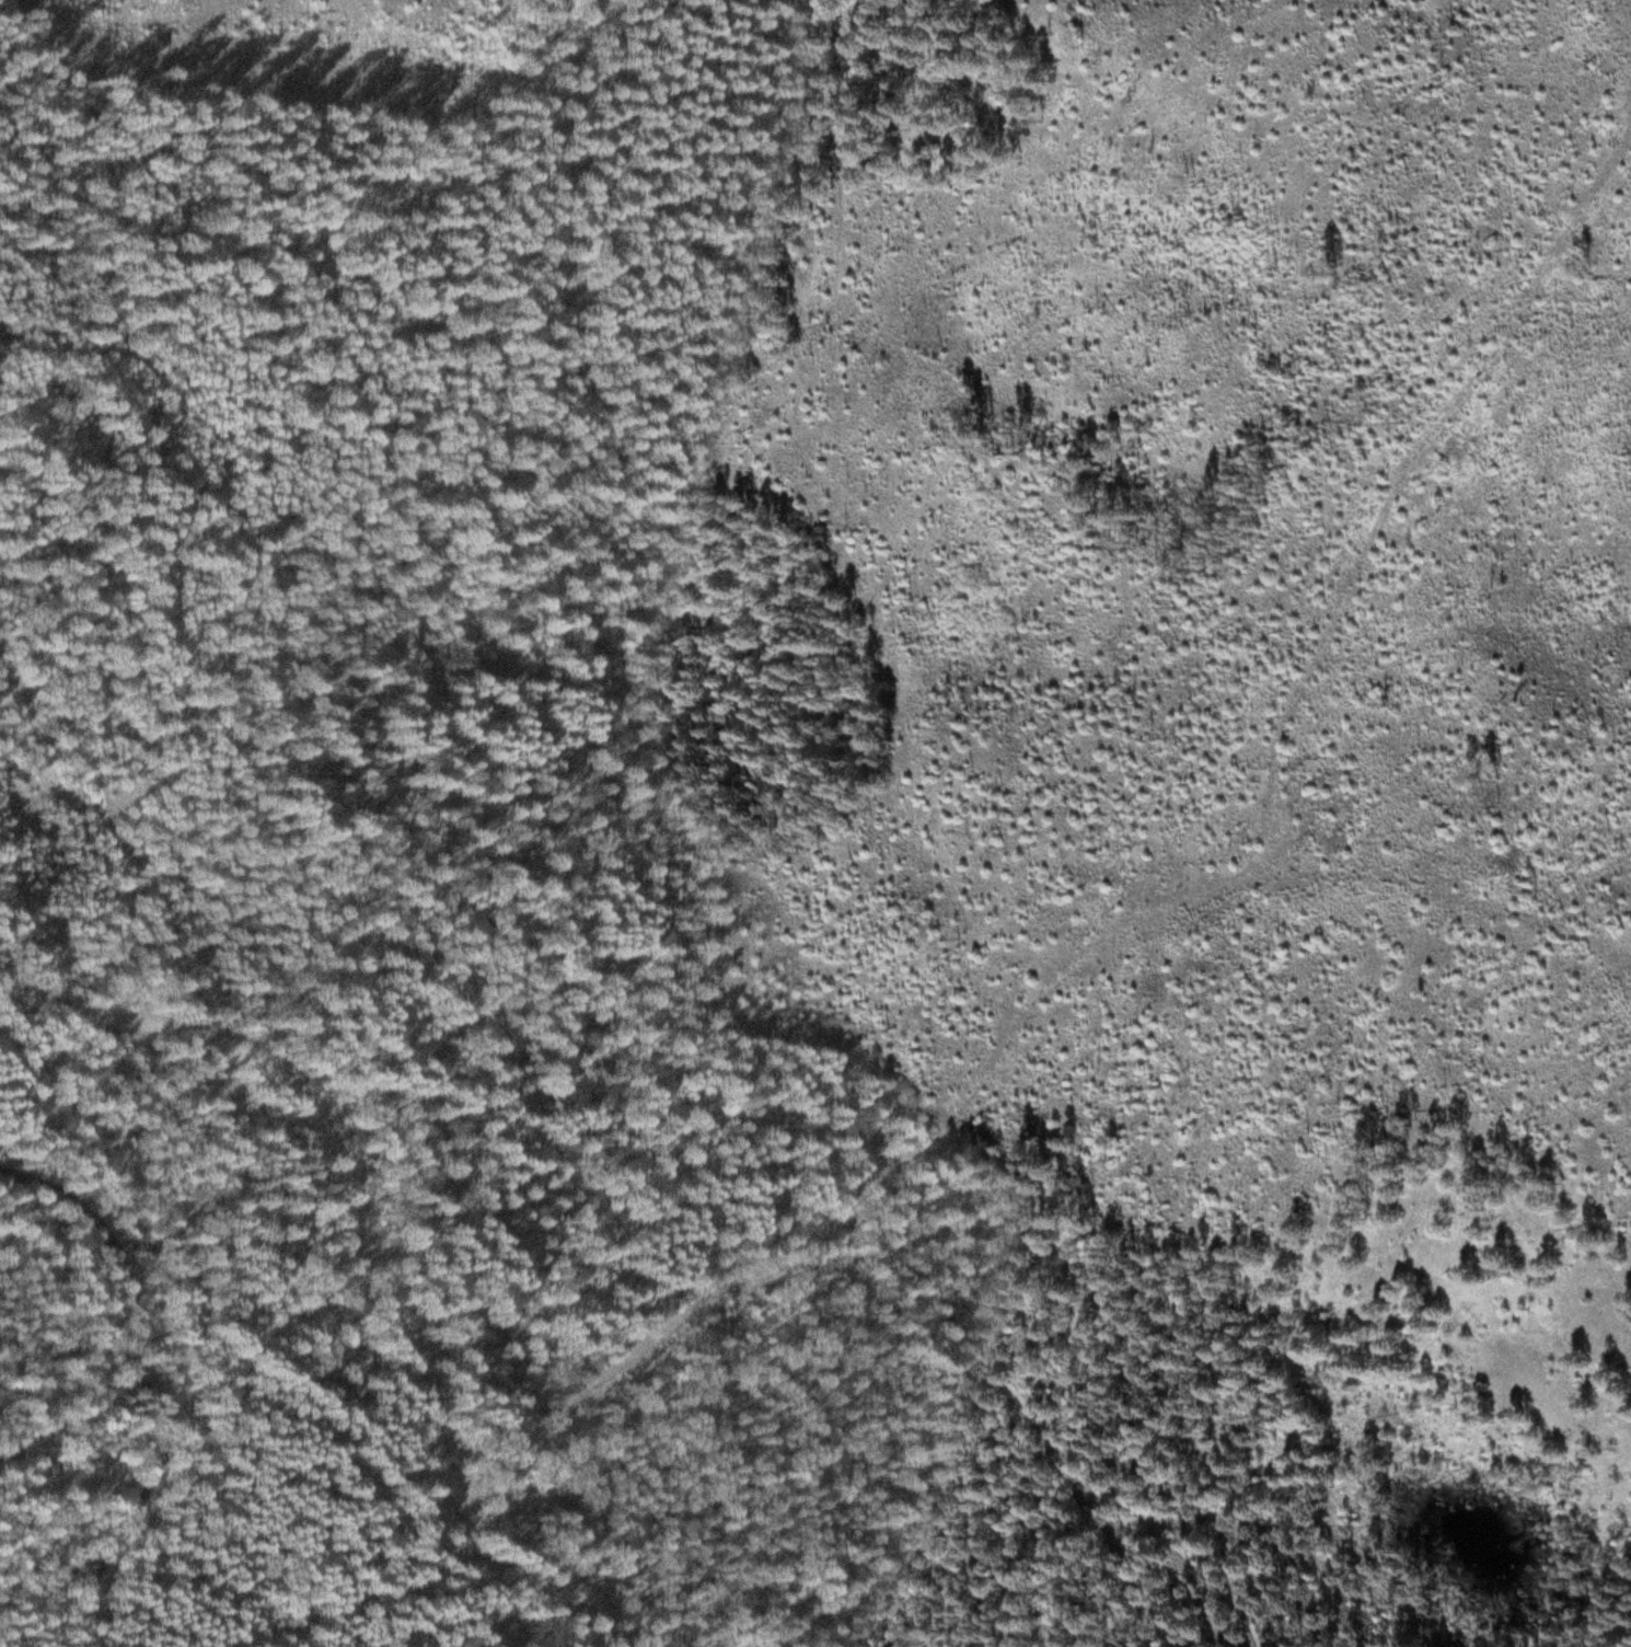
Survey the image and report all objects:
road: (178, 430)
road: (118, 1245)
road: (605, 1252)
road: (382, 1270)
road: (189, 1435)

